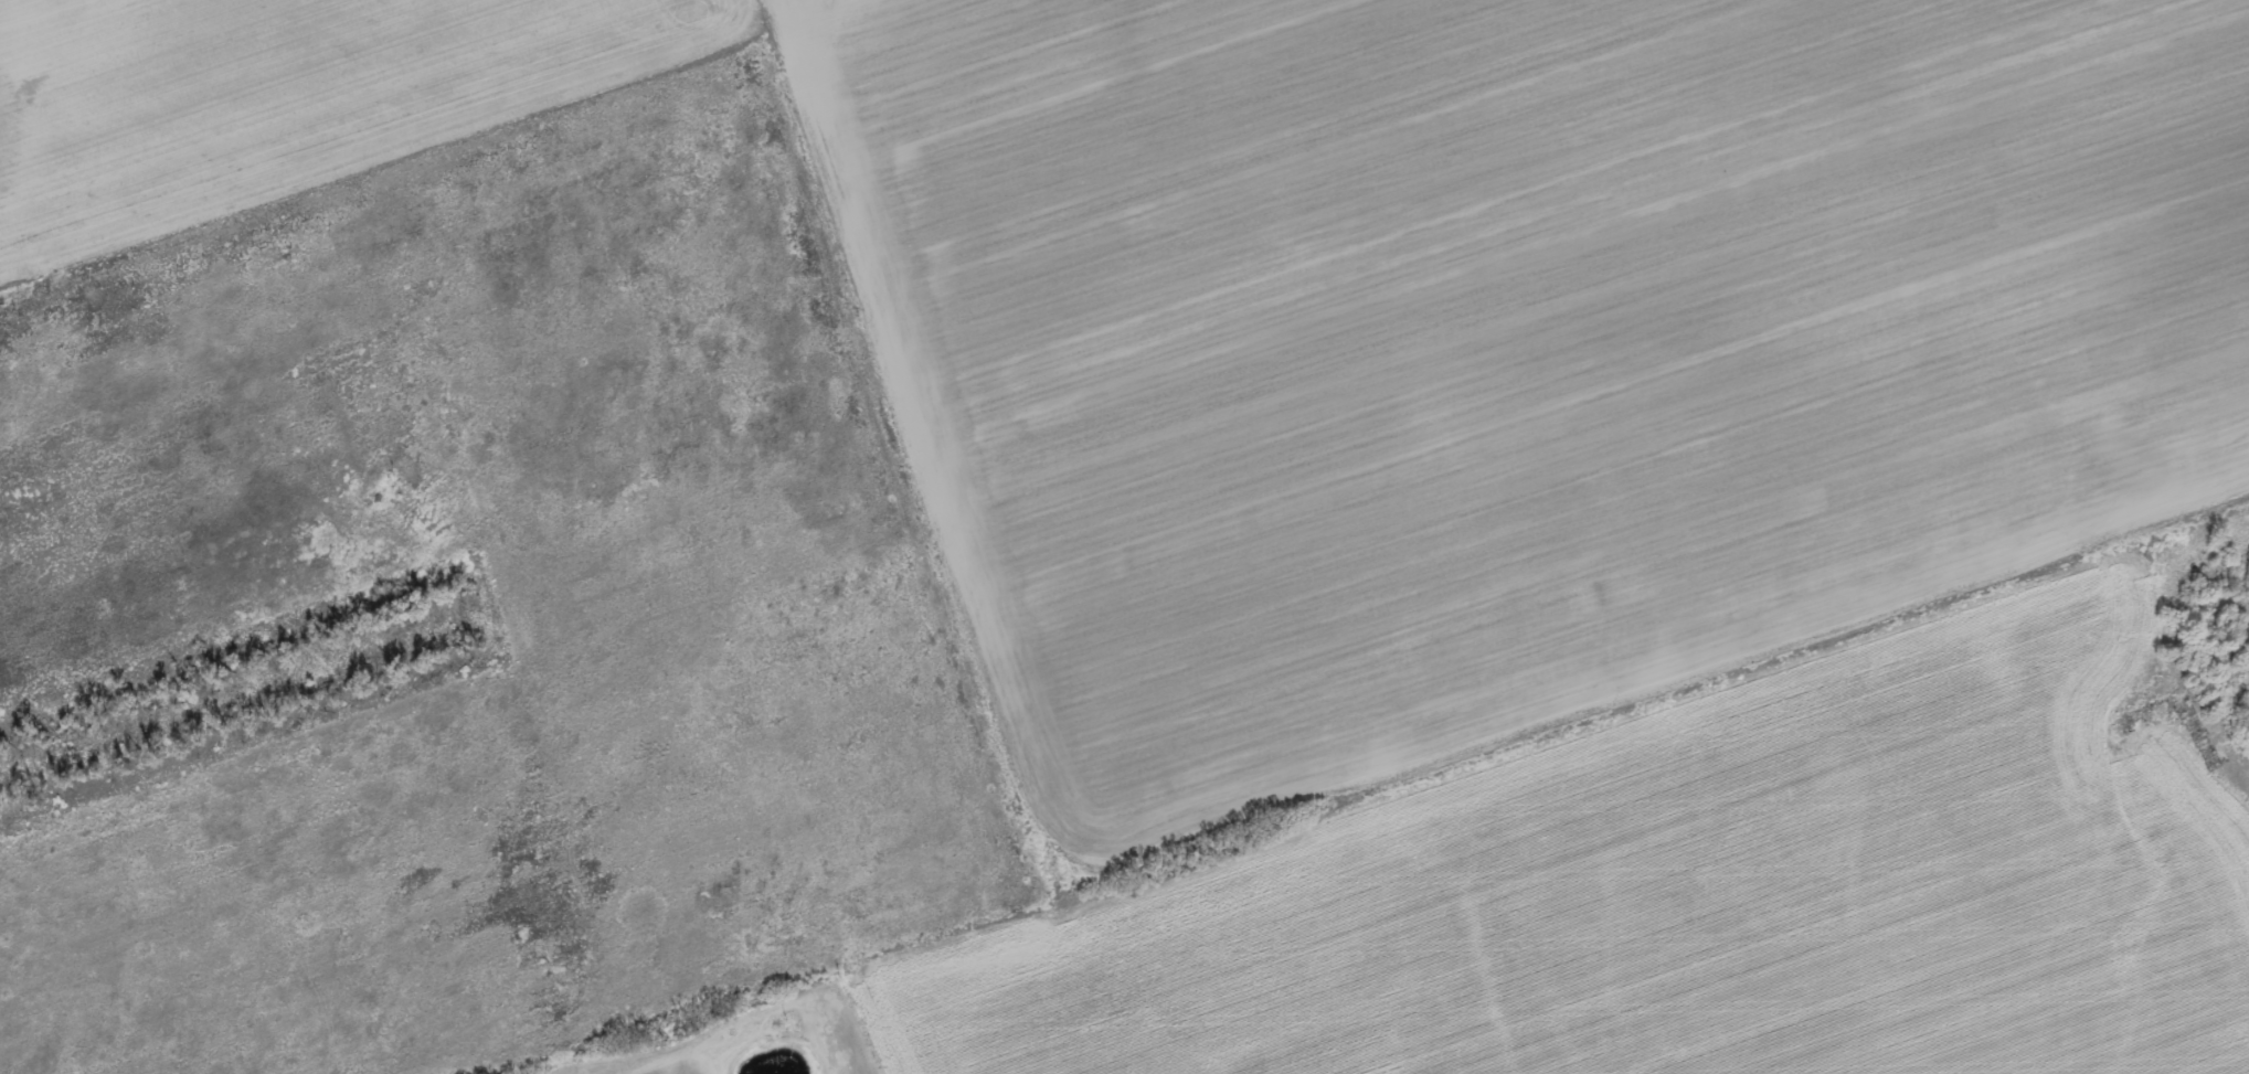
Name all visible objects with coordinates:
road: (229, 764)

